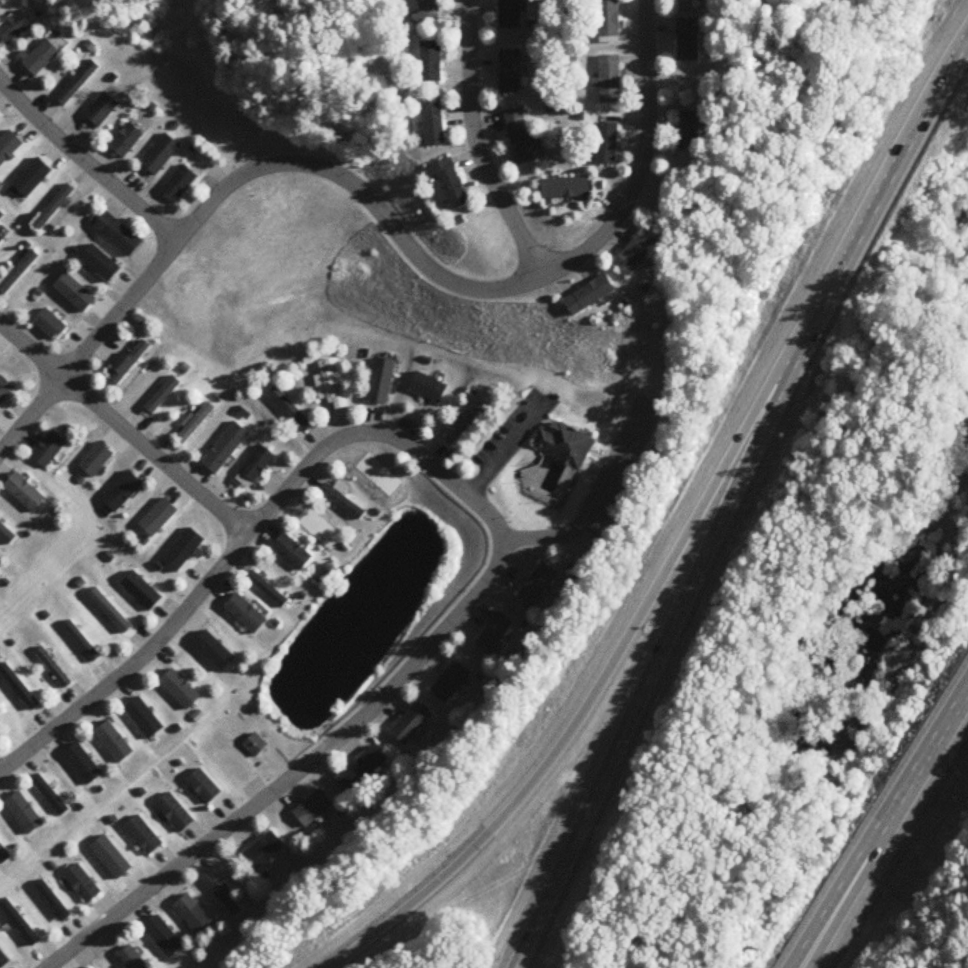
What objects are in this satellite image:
building: (0, 0)
building: (682, 0)
building: (428, 12)
building: (510, 14)
building: (608, 21)
building: (15, 27)
building: (688, 40)
building: (40, 57)
building: (431, 62)
building: (510, 72)
building: (609, 79)
building: (78, 83)
building: (102, 110)
building: (435, 123)
building: (690, 131)
building: (519, 136)
building: (127, 141)
building: (607, 142)
building: (161, 155)
road: (85, 164)
road: (234, 179)
building: (179, 184)
building: (449, 185)
building: (566, 189)
building: (53, 208)
building: (118, 235)
building: (1, 241)
building: (640, 252)
building: (96, 260)
road: (554, 271)
building: (592, 296)
building: (51, 324)
building: (129, 362)
building: (382, 382)
building: (331, 385)
building: (427, 388)
building: (164, 395)
building: (196, 424)
building: (464, 424)
road: (125, 429)
building: (562, 441)
road: (501, 444)
building: (226, 448)
building: (49, 450)
building: (96, 460)
building: (255, 467)
road: (584, 490)
building: (26, 493)
building: (345, 502)
road: (732, 503)
building: (294, 553)
road: (231, 561)
building: (538, 585)
building: (269, 590)
building: (113, 612)
building: (247, 614)
building: (494, 635)
building: (84, 641)
road: (615, 654)
building: (55, 668)
building: (451, 683)
building: (1, 722)
building: (412, 724)
building: (256, 746)
road: (320, 757)
building: (361, 770)
building: (205, 787)
building: (313, 810)
building: (176, 814)
road: (879, 825)
building: (145, 836)
building: (264, 851)
building: (4, 856)
road: (865, 878)
building: (84, 884)
building: (222, 895)
building: (26, 925)
building: (132, 959)

